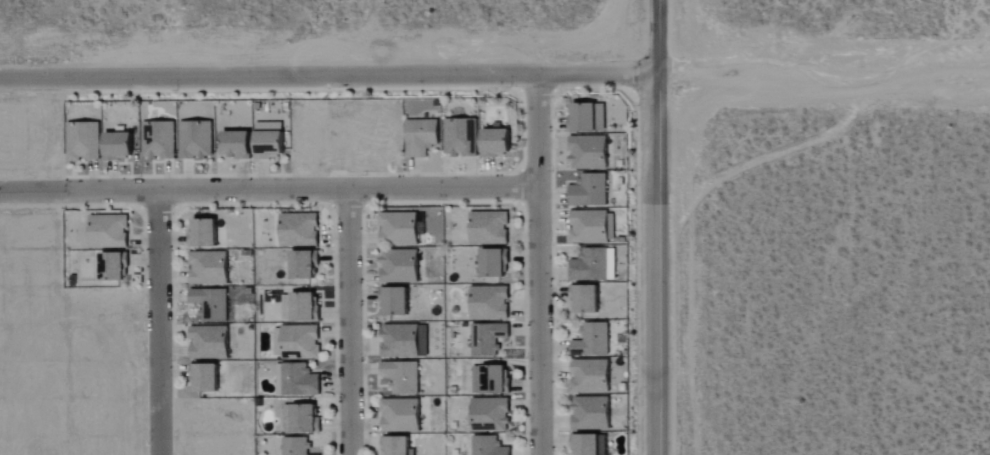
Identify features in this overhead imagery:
road: (839, 70)
road: (672, 71)
road: (328, 74)
building: (586, 116)
building: (420, 136)
building: (460, 136)
building: (195, 139)
building: (157, 140)
building: (82, 141)
building: (495, 142)
building: (235, 143)
building: (267, 143)
building: (117, 145)
building: (588, 152)
road: (268, 190)
building: (588, 190)
building: (488, 227)
building: (591, 227)
road: (656, 227)
building: (398, 228)
building: (298, 229)
building: (107, 231)
building: (202, 232)
building: (493, 262)
road: (537, 263)
building: (302, 264)
building: (593, 265)
building: (112, 266)
building: (399, 266)
building: (207, 268)
building: (584, 298)
building: (394, 301)
building: (489, 302)
building: (210, 304)
building: (303, 306)
road: (346, 322)
road: (156, 323)
building: (487, 338)
building: (300, 340)
building: (404, 340)
building: (591, 340)
building: (276, 341)
building: (208, 343)
building: (589, 376)
building: (204, 377)
building: (401, 377)
building: (490, 379)
building: (295, 380)
building: (489, 414)
building: (590, 414)
building: (400, 415)
building: (304, 418)
building: (589, 444)
building: (395, 445)
building: (487, 446)

